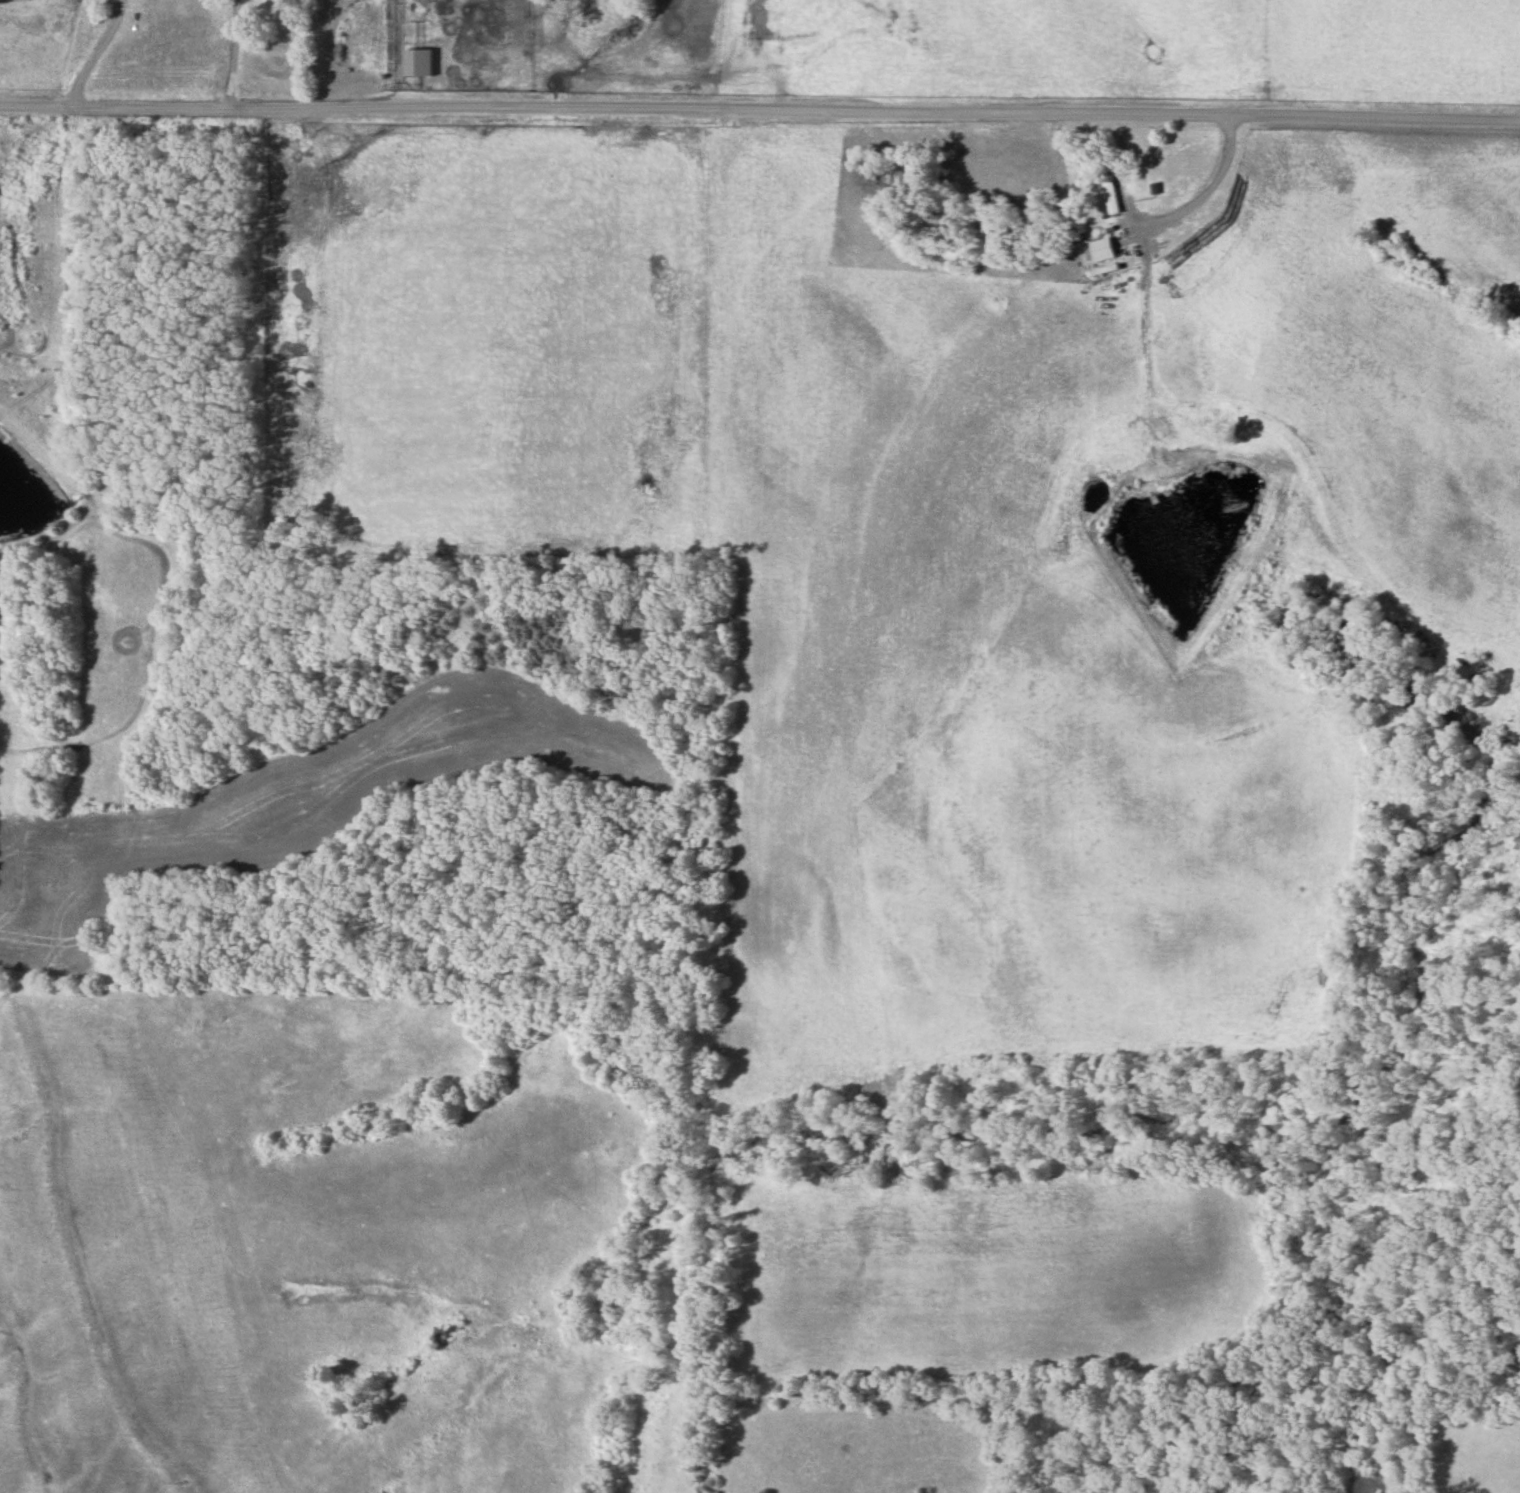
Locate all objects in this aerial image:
building: (353, 1)
road: (99, 55)
road: (236, 55)
road: (760, 107)
building: (1110, 197)
road: (1207, 199)
building: (1100, 251)

